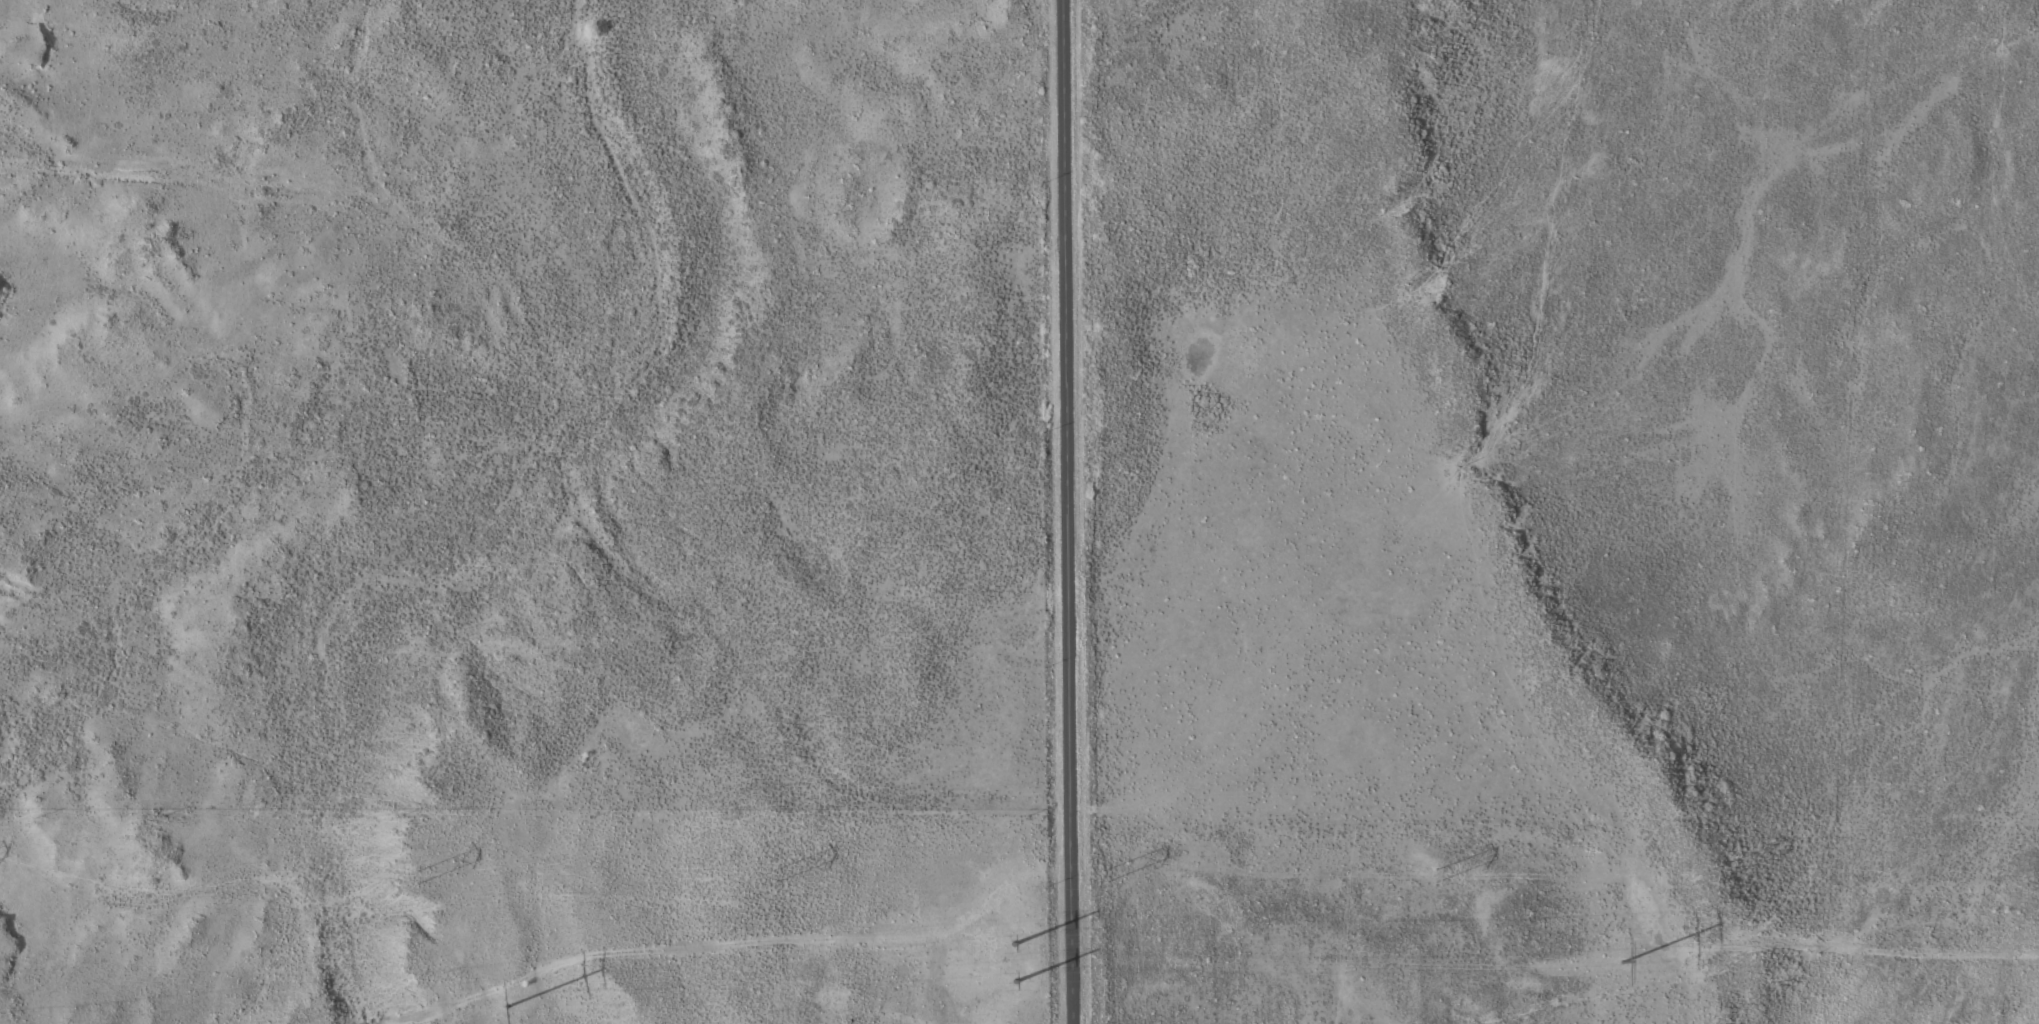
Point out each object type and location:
road: (1069, 512)
power tower: (1701, 873)
power tower: (1107, 874)
power tower: (422, 875)
power tower: (772, 875)
power tower: (1429, 875)
power tower: (1014, 959)
power tower: (1622, 960)
power tower: (508, 1004)

